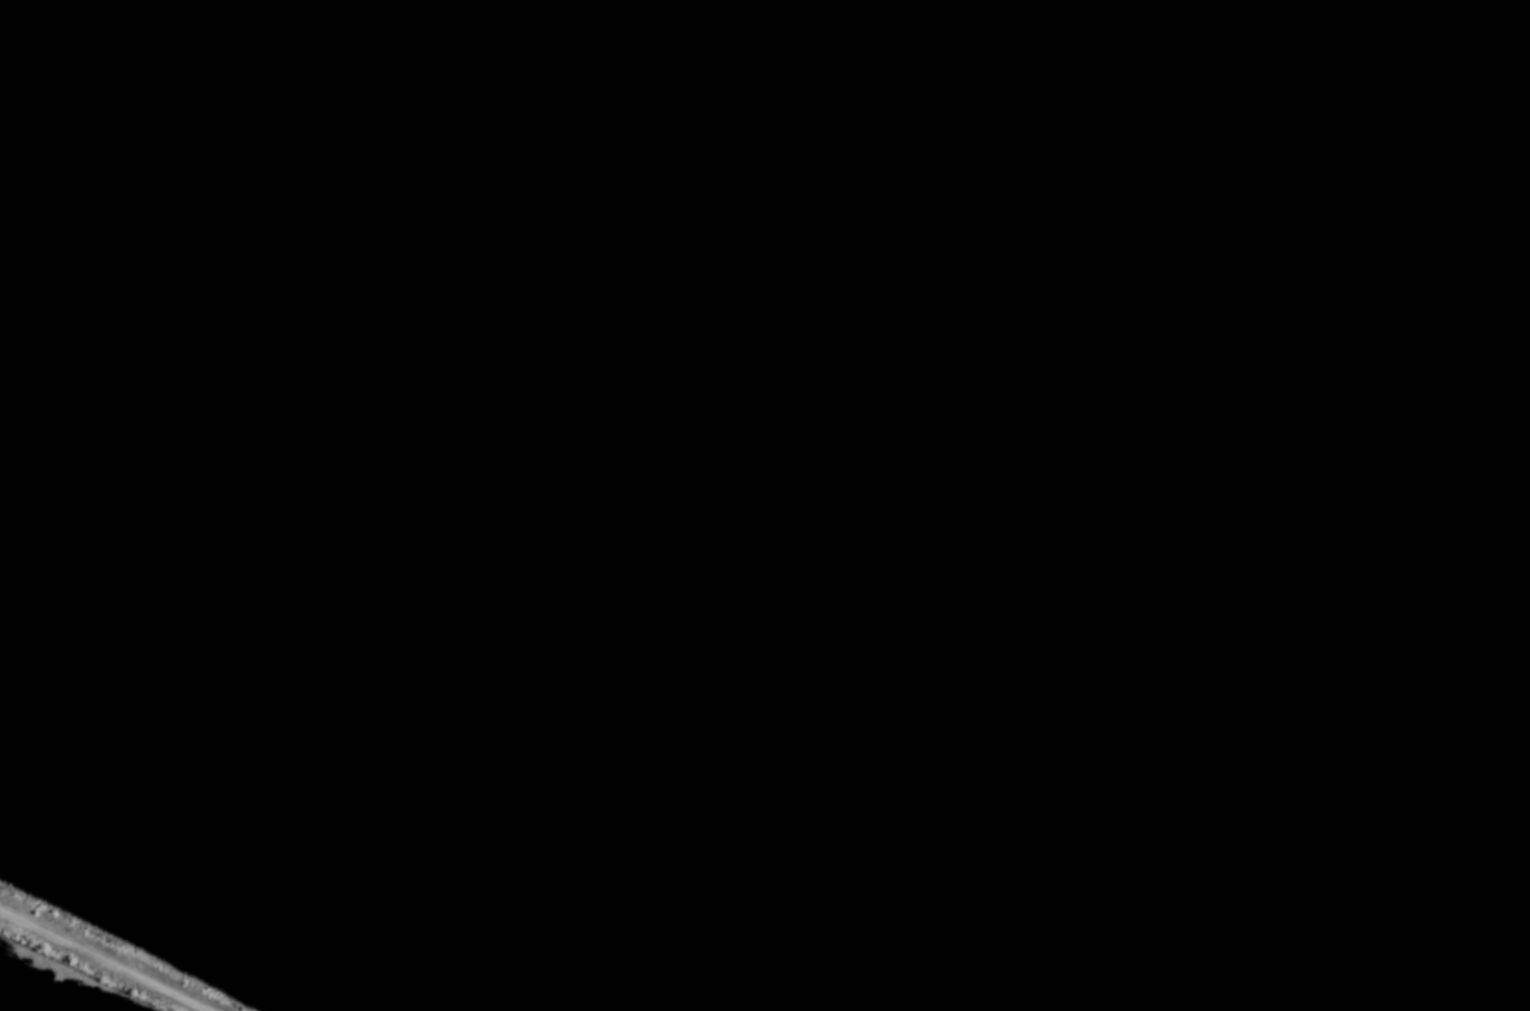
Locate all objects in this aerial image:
road: (96, 965)

